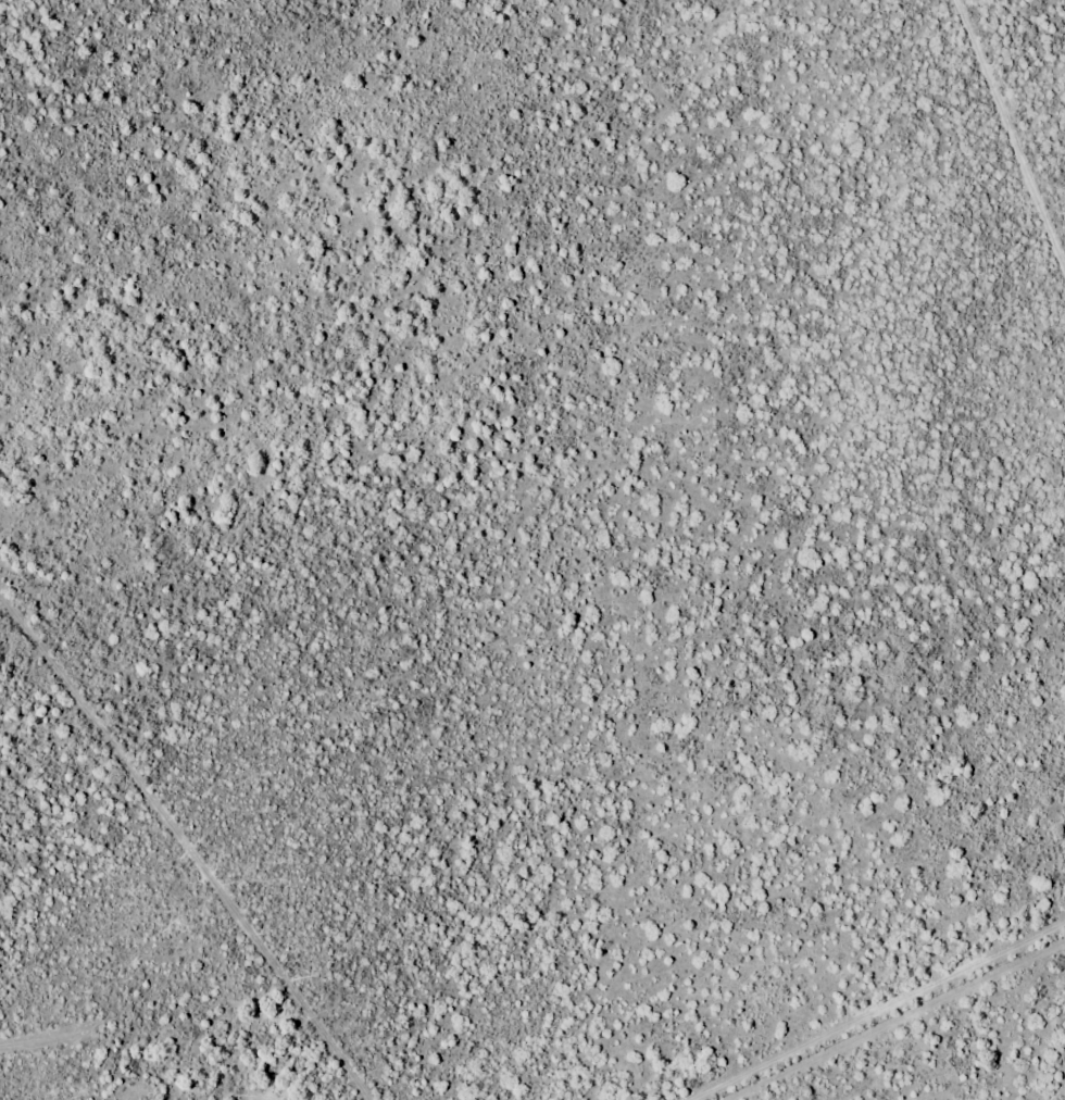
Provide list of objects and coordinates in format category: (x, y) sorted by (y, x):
road: (913, 1025)

